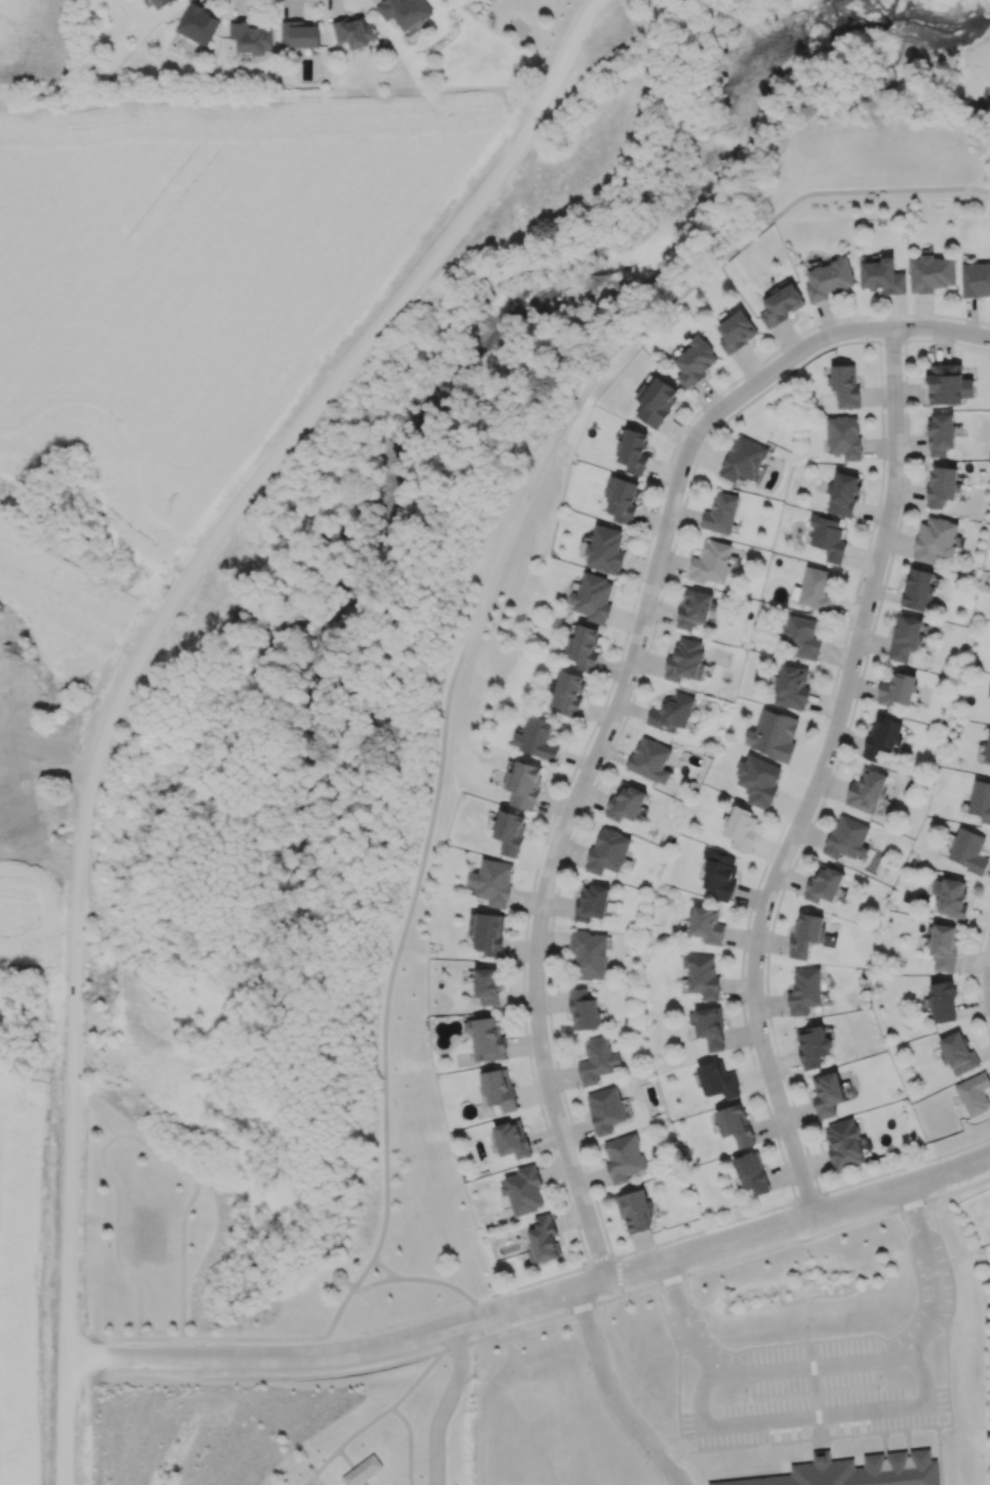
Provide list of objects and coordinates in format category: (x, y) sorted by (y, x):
road: (624, 1)
building: (160, 3)
building: (404, 11)
building: (197, 23)
building: (354, 31)
building: (299, 34)
building: (252, 37)
crop: (40, 43)
crop: (196, 255)
building: (931, 273)
building: (882, 276)
building: (828, 278)
building: (975, 279)
building: (781, 305)
building: (736, 331)
building: (694, 361)
building: (948, 384)
building: (845, 385)
building: (656, 402)
building: (941, 433)
building: (843, 436)
building: (634, 451)
building: (742, 459)
building: (942, 485)
building: (843, 494)
building: (622, 499)
building: (720, 513)
building: (828, 537)
building: (935, 539)
building: (603, 549)
building: (711, 562)
building: (816, 588)
building: (917, 589)
building: (592, 597)
crop: (56, 598)
building: (695, 608)
building: (800, 636)
building: (905, 638)
building: (585, 647)
building: (685, 660)
road: (135, 672)
building: (792, 687)
building: (897, 688)
building: (568, 692)
road: (604, 700)
road: (620, 703)
building: (672, 712)
building: (775, 734)
building: (882, 737)
building: (536, 738)
building: (34, 746)
building: (988, 751)
building: (650, 759)
road: (40, 778)
road: (823, 779)
building: (524, 784)
building: (866, 791)
building: (980, 800)
building: (626, 802)
building: (17, 812)
building: (741, 828)
building: (510, 832)
building: (847, 838)
building: (969, 850)
building: (608, 851)
building: (719, 875)
building: (493, 881)
building: (823, 883)
building: (953, 898)
building: (591, 902)
building: (707, 924)
building: (487, 932)
building: (806, 934)
building: (944, 946)
building: (589, 954)
building: (702, 975)
road: (988, 981)
building: (488, 985)
building: (804, 990)
building: (942, 1001)
building: (583, 1009)
building: (710, 1027)
building: (486, 1039)
building: (813, 1046)
building: (958, 1053)
building: (597, 1061)
building: (718, 1079)
building: (498, 1088)
building: (974, 1093)
building: (827, 1094)
building: (605, 1109)
building: (735, 1124)
road: (135, 1137)
building: (512, 1138)
building: (844, 1144)
building: (623, 1157)
building: (751, 1172)
building: (522, 1190)
road: (385, 1195)
building: (634, 1210)
building: (543, 1239)
road: (387, 1270)
road: (433, 1282)
crop: (8, 1301)
road: (536, 1306)
road: (837, 1338)
road: (839, 1366)
road: (423, 1374)
road: (614, 1397)
road: (815, 1400)
road: (445, 1407)
road: (378, 1416)
road: (807, 1418)
park: (298, 1432)
road: (848, 1437)
road: (671, 1456)
road: (351, 1466)
building: (362, 1470)
building: (855, 1471)

